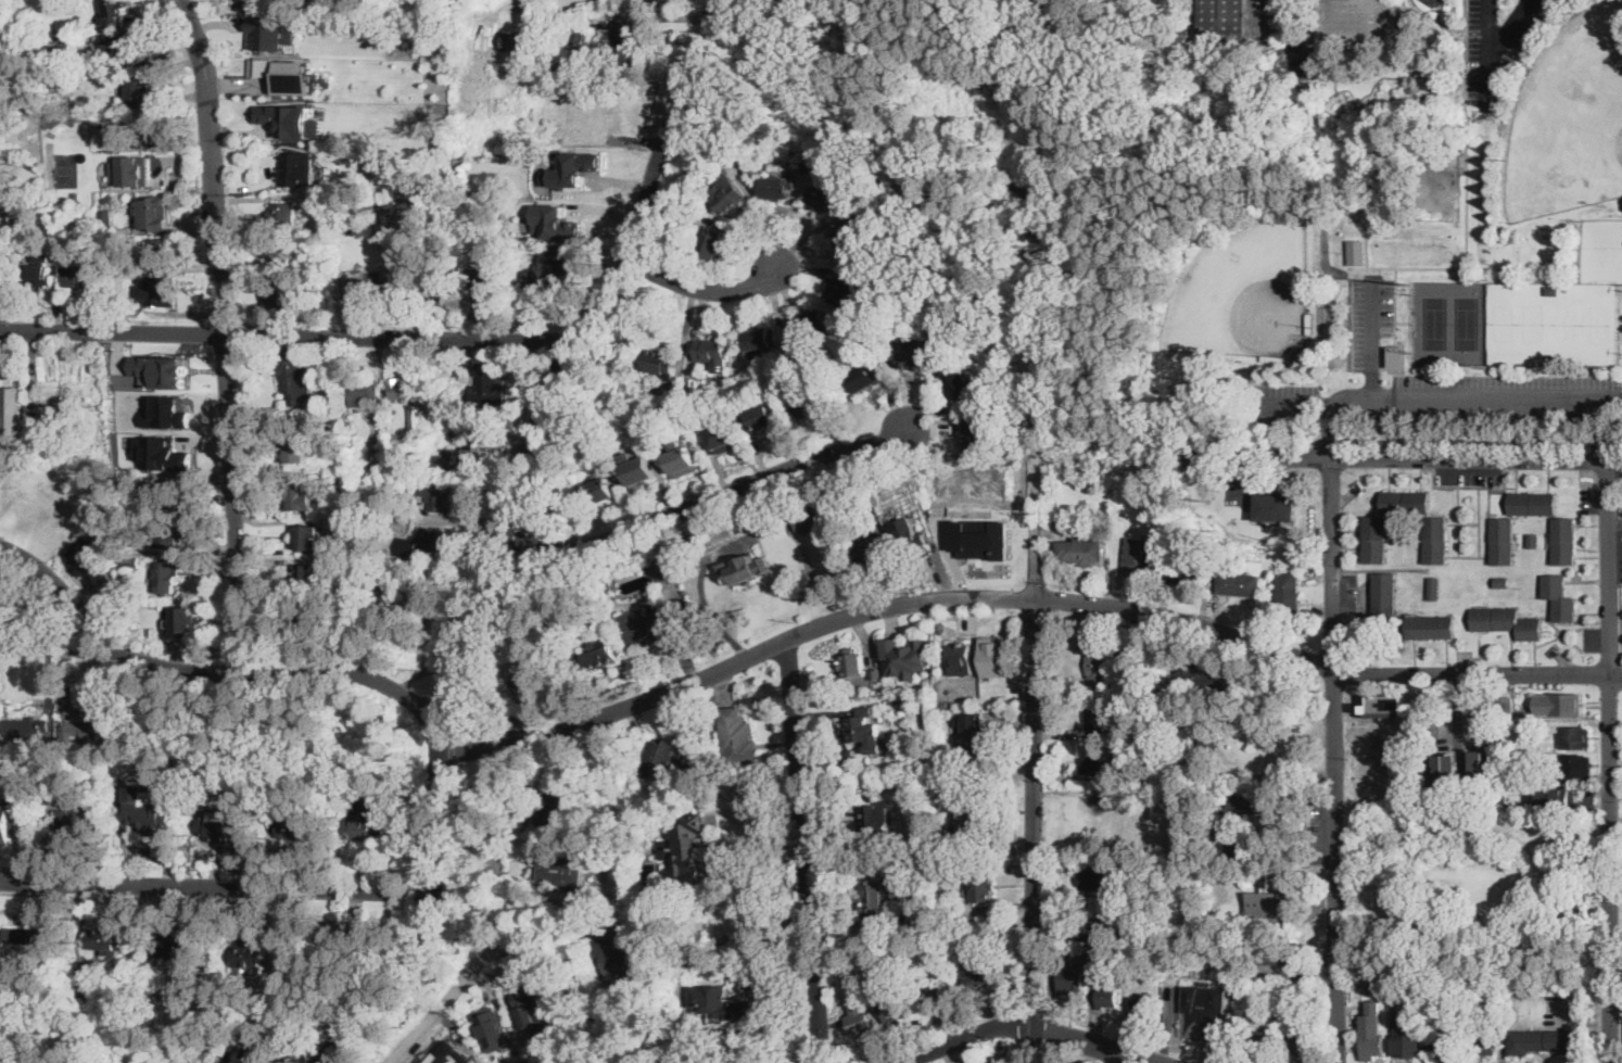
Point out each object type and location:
building: (2, 0)
building: (658, 0)
building: (1439, 2)
road: (528, 3)
building: (249, 4)
building: (112, 11)
road: (939, 14)
building: (1235, 20)
building: (598, 22)
building: (36, 24)
building: (1359, 24)
building: (271, 33)
building: (12, 35)
parking lot: (1499, 40)
building: (515, 42)
building: (123, 46)
building: (51, 47)
building: (621, 49)
road: (1494, 50)
building: (556, 71)
building: (1415, 86)
building: (299, 88)
building: (138, 91)
building: (354, 105)
park: (1568, 116)
building: (290, 118)
building: (152, 128)
building: (392, 131)
building: (127, 143)
building: (464, 143)
building: (827, 153)
building: (795, 154)
building: (943, 156)
building: (956, 160)
building: (137, 169)
building: (297, 169)
building: (571, 169)
building: (777, 188)
building: (563, 189)
building: (909, 191)
park: (1257, 195)
building: (107, 198)
building: (727, 198)
building: (825, 199)
building: (153, 213)
building: (283, 213)
building: (546, 214)
building: (105, 218)
building: (882, 226)
road: (962, 227)
building: (847, 243)
building: (711, 245)
park: (1604, 250)
building: (1358, 251)
building: (159, 253)
building: (281, 256)
road: (1462, 262)
building: (39, 266)
building: (549, 266)
building: (75, 267)
road: (680, 268)
building: (5, 270)
building: (484, 284)
building: (440, 287)
building: (400, 288)
building: (359, 289)
road: (701, 289)
building: (842, 289)
park: (1244, 291)
building: (1551, 291)
building: (159, 292)
building: (282, 300)
road: (1395, 304)
building: (1309, 322)
park: (1455, 322)
park: (1557, 326)
building: (813, 327)
road: (224, 331)
road: (283, 338)
building: (901, 339)
building: (760, 340)
road: (1372, 342)
building: (712, 353)
building: (917, 358)
building: (1271, 358)
building: (660, 363)
building: (788, 368)
building: (160, 370)
building: (292, 377)
building: (867, 378)
building: (692, 383)
building: (485, 384)
building: (962, 384)
parking lot: (1434, 385)
building: (7, 387)
building: (363, 391)
building: (407, 396)
road: (1440, 401)
building: (815, 405)
building: (65, 409)
building: (37, 412)
building: (152, 415)
building: (474, 417)
building: (762, 418)
road: (1332, 430)
building: (687, 431)
building: (977, 433)
building: (722, 435)
building: (117, 439)
building: (373, 439)
building: (56, 441)
building: (647, 445)
building: (161, 453)
building: (304, 453)
road: (1320, 456)
building: (680, 457)
building: (456, 458)
building: (638, 469)
building: (392, 489)
building: (600, 491)
building: (160, 494)
building: (302, 496)
building: (439, 498)
road: (704, 501)
building: (1405, 502)
building: (1533, 504)
building: (1277, 507)
building: (812, 519)
building: (746, 528)
road: (502, 531)
building: (739, 531)
building: (168, 532)
building: (720, 533)
building: (908, 535)
building: (980, 537)
building: (309, 539)
building: (1376, 540)
building: (1435, 540)
building: (1503, 541)
building: (1533, 541)
building: (1563, 541)
building: (426, 542)
building: (699, 544)
road: (732, 545)
road: (550, 546)
building: (1081, 551)
parking lot: (1611, 554)
building: (874, 555)
building: (1141, 557)
building: (130, 559)
building: (91, 560)
building: (1184, 566)
building: (662, 569)
building: (746, 569)
building: (306, 578)
building: (168, 579)
building: (419, 581)
building: (1503, 582)
building: (1239, 584)
road: (771, 586)
building: (1434, 589)
road: (58, 593)
building: (1288, 593)
building: (1384, 596)
building: (1559, 597)
park: (21, 598)
building: (396, 598)
road: (1036, 613)
building: (309, 617)
building: (1506, 622)
building: (181, 623)
building: (652, 625)
road: (1203, 627)
building: (1431, 628)
road: (476, 630)
road: (51, 645)
building: (962, 655)
building: (994, 656)
building: (904, 657)
building: (598, 658)
building: (852, 665)
building: (1103, 666)
building: (528, 668)
building: (875, 673)
building: (1206, 675)
building: (1282, 678)
building: (880, 691)
building: (916, 695)
building: (899, 698)
building: (939, 703)
building: (1387, 703)
building: (1558, 703)
building: (1505, 705)
building: (882, 709)
building: (1095, 719)
building: (859, 723)
building: (92, 729)
building: (973, 729)
building: (33, 730)
building: (1209, 730)
road: (444, 736)
building: (737, 736)
building: (4, 737)
building: (1575, 738)
building: (1501, 741)
road: (453, 754)
building: (670, 757)
road: (1334, 759)
building: (1263, 760)
building: (1099, 761)
road: (1609, 761)
building: (1473, 767)
building: (1575, 767)
building: (1444, 771)
building: (912, 786)
building: (614, 788)
building: (1559, 798)
building: (554, 808)
building: (14, 812)
building: (977, 812)
building: (1240, 812)
building: (219, 818)
building: (150, 819)
building: (365, 819)
building: (879, 819)
building: (80, 820)
building: (294, 824)
building: (685, 827)
building: (938, 828)
building: (1249, 848)
road: (802, 851)
building: (686, 868)
building: (559, 870)
road: (1615, 883)
road: (215, 886)
building: (981, 886)
building: (880, 891)
building: (936, 891)
building: (1269, 895)
park: (1474, 895)
road: (720, 897)
road: (549, 902)
building: (1230, 903)
building: (1101, 904)
road: (479, 915)
building: (1227, 915)
road: (490, 922)
building: (900, 922)
building: (31, 933)
building: (333, 937)
building: (956, 939)
building: (109, 940)
building: (1152, 940)
building: (173, 948)
building: (249, 954)
building: (1085, 956)
building: (617, 958)
building: (1115, 959)
building: (689, 961)
building: (1281, 962)
building: (976, 974)
building: (1072, 982)
building: (87, 986)
building: (1384, 986)
building: (1492, 987)
building: (1106, 990)
building: (1449, 991)
building: (529, 994)
building: (860, 994)
building: (934, 995)
building: (1417, 999)
building: (721, 1003)
building: (1139, 1005)
building: (899, 1008)
building: (1204, 1010)
building: (861, 1017)
road: (1024, 1021)
building: (492, 1027)
building: (1302, 1039)
building: (1370, 1039)
building: (1484, 1040)
building: (1408, 1041)
building: (1553, 1041)
building: (1513, 1042)
building: (1259, 1043)
building: (1443, 1045)
building: (262, 1049)
building: (558, 1055)
building: (226, 1056)
building: (458, 1056)
building: (1458, 1058)
building: (574, 1062)

